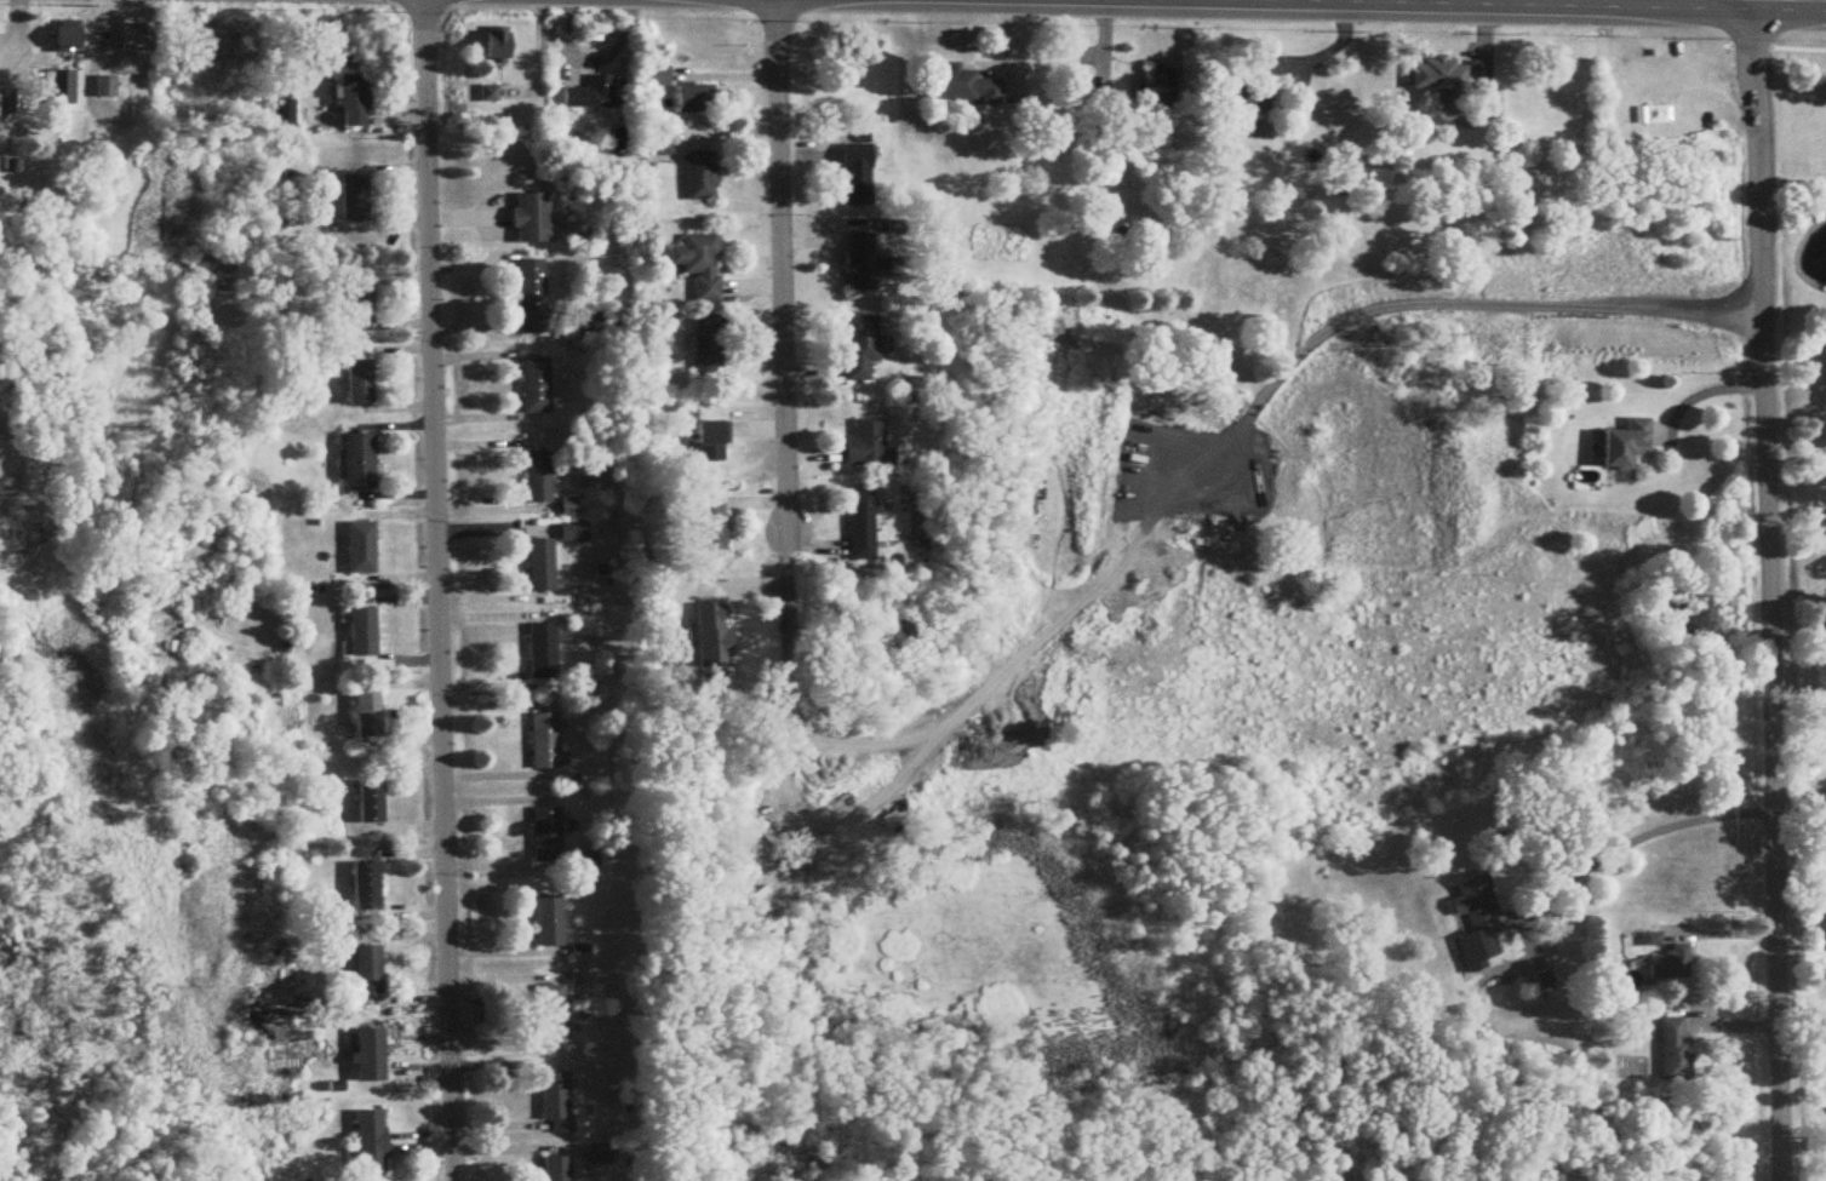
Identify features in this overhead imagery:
road: (1792, 0)
building: (69, 38)
building: (138, 39)
building: (498, 46)
road: (1329, 56)
road: (538, 58)
road: (595, 59)
building: (659, 78)
building: (1444, 87)
building: (63, 88)
building: (107, 88)
building: (964, 88)
building: (1157, 90)
building: (591, 96)
building: (1243, 98)
building: (696, 99)
building: (354, 102)
building: (1103, 104)
building: (660, 145)
building: (858, 176)
building: (702, 177)
building: (355, 200)
building: (533, 219)
building: (864, 263)
building: (218, 265)
road: (780, 265)
building: (702, 266)
building: (532, 297)
building: (359, 298)
road: (1449, 300)
building: (590, 323)
building: (863, 348)
building: (709, 350)
building: (360, 383)
building: (538, 385)
road: (1704, 391)
building: (711, 445)
building: (1628, 445)
building: (868, 446)
building: (360, 463)
building: (539, 477)
building: (714, 526)
building: (864, 527)
building: (576, 533)
park: (1809, 533)
building: (362, 549)
building: (543, 567)
road: (440, 590)
road: (1771, 590)
building: (365, 634)
building: (544, 652)
building: (370, 716)
building: (546, 741)
building: (372, 802)
building: (549, 833)
road: (1637, 838)
building: (588, 861)
building: (367, 885)
building: (551, 919)
building: (1478, 924)
building: (1671, 963)
building: (370, 970)
building: (1607, 973)
building: (553, 1010)
building: (1676, 1051)
building: (372, 1056)
building: (557, 1100)
building: (372, 1145)
building: (600, 1154)
building: (559, 1169)

